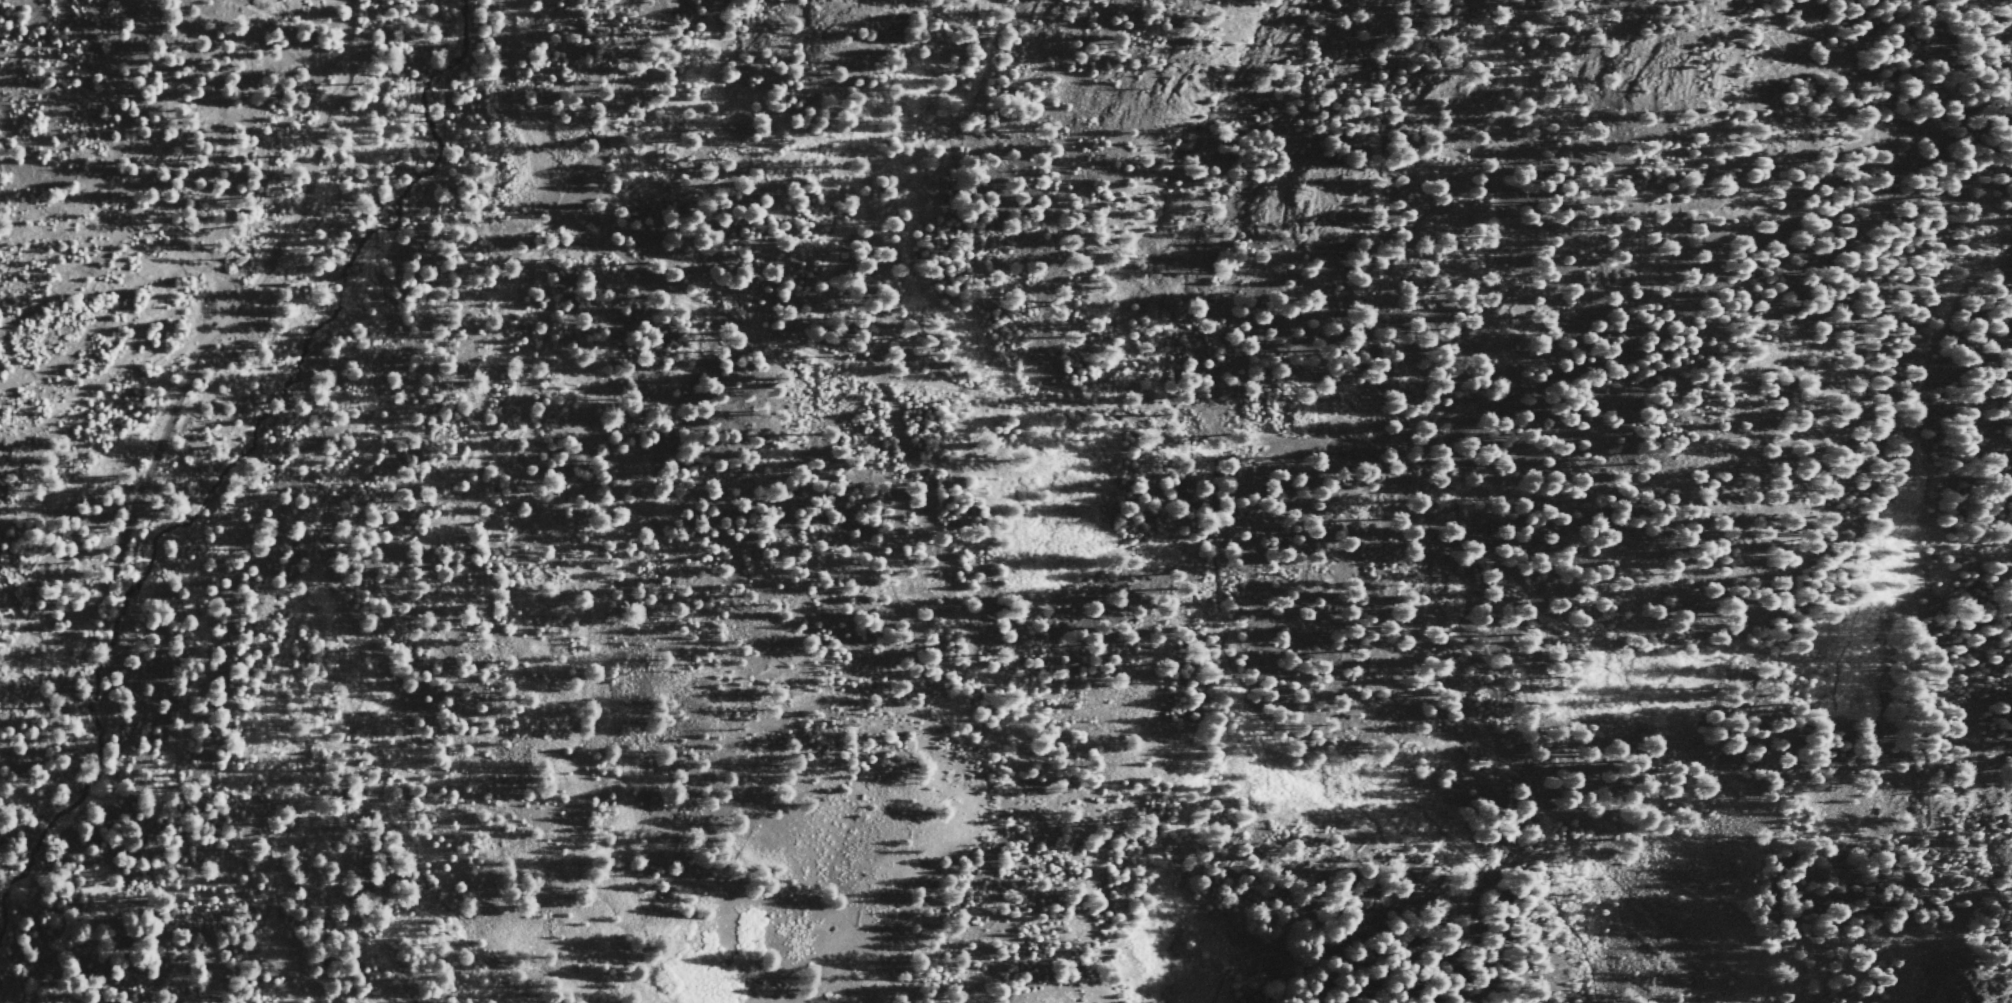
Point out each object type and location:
road: (200, 348)
road: (823, 356)

